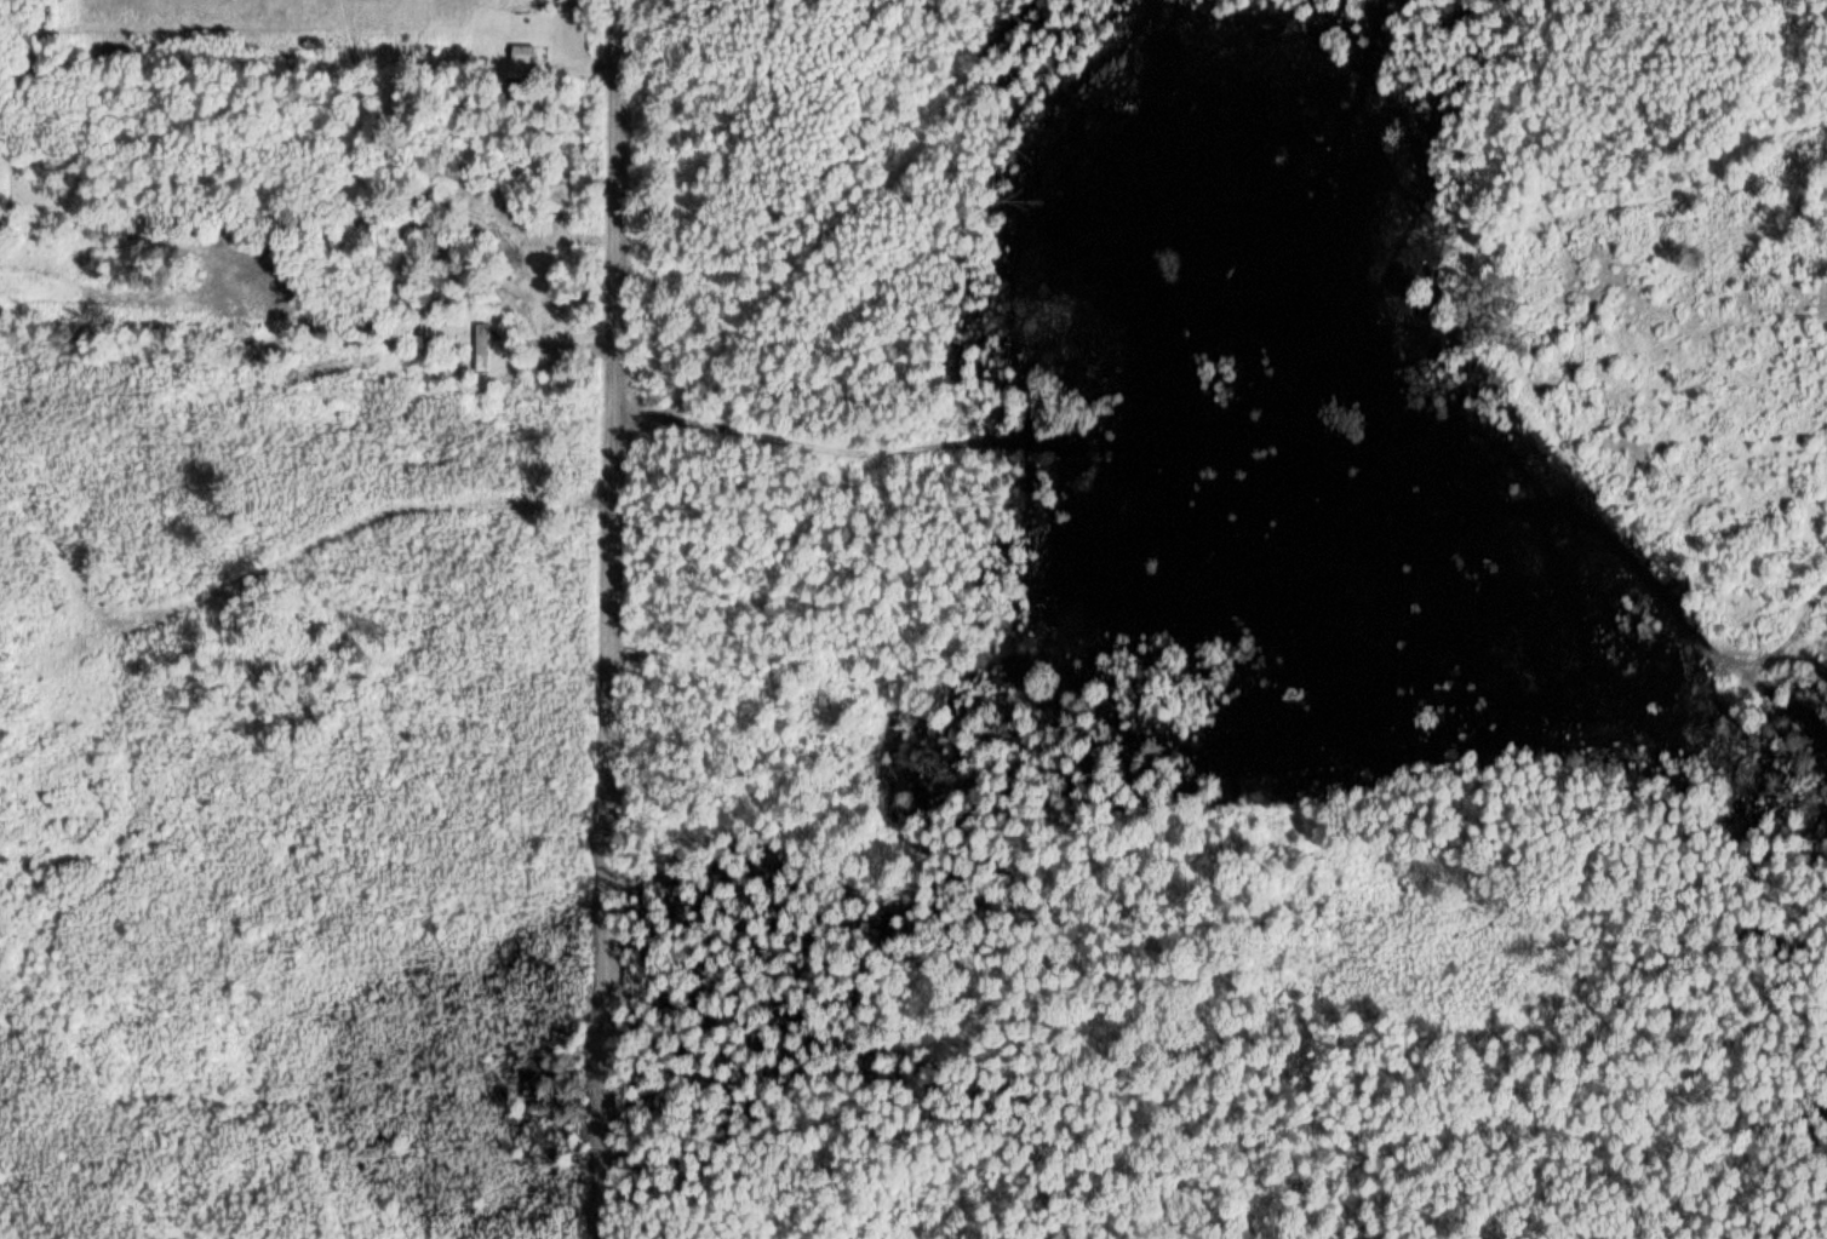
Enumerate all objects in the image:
building: (523, 53)
building: (481, 348)
road: (608, 619)

